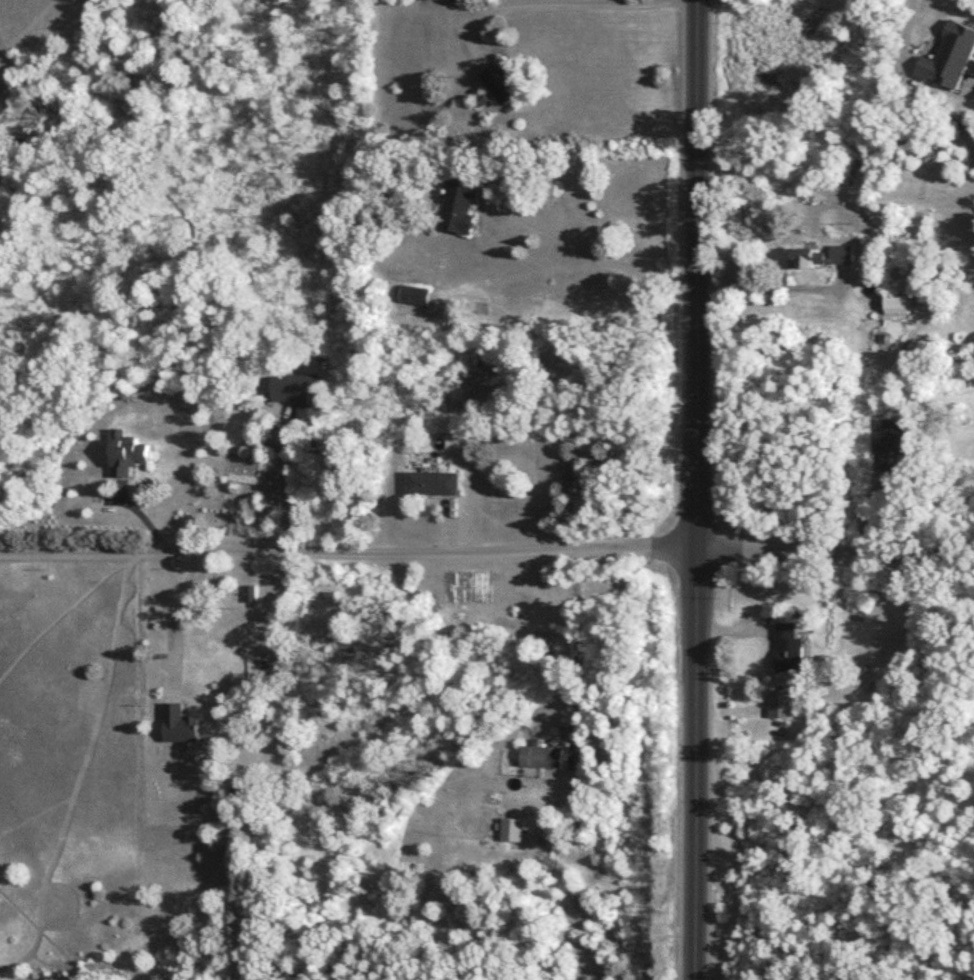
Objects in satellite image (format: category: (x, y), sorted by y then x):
road: (571, 6)
road: (904, 34)
building: (949, 58)
building: (504, 84)
building: (463, 206)
road: (594, 255)
building: (825, 258)
road: (696, 273)
road: (773, 287)
building: (415, 295)
building: (896, 303)
building: (893, 444)
building: (127, 454)
road: (278, 479)
building: (436, 484)
road: (835, 551)
road: (348, 553)
building: (251, 594)
road: (168, 609)
road: (576, 637)
building: (790, 649)
building: (781, 704)
building: (179, 725)
building: (542, 757)
road: (696, 764)

